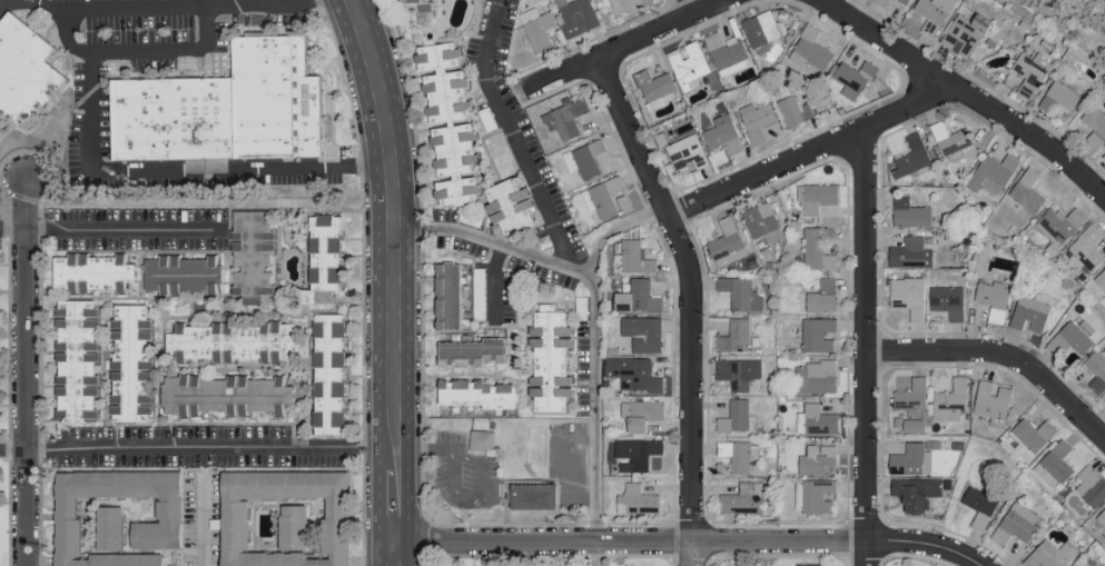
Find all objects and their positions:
road: (1, 1)
building: (904, 1)
building: (881, 2)
building: (420, 4)
building: (628, 4)
road: (275, 6)
road: (126, 7)
road: (690, 8)
building: (933, 13)
building: (578, 17)
building: (537, 29)
building: (760, 31)
building: (965, 34)
building: (726, 46)
road: (625, 47)
building: (810, 49)
road: (140, 51)
building: (688, 66)
building: (1028, 73)
building: (854, 78)
building: (27, 79)
road: (965, 93)
building: (793, 111)
building: (228, 116)
building: (565, 118)
building: (756, 120)
building: (448, 123)
building: (1094, 127)
building: (722, 135)
road: (512, 137)
building: (951, 141)
road: (812, 151)
building: (1104, 156)
building: (911, 157)
road: (181, 172)
building: (993, 173)
building: (1026, 192)
building: (816, 197)
building: (602, 198)
building: (624, 201)
building: (509, 206)
building: (909, 214)
road: (397, 219)
building: (761, 222)
building: (1059, 225)
road: (112, 228)
road: (615, 232)
building: (726, 239)
building: (1085, 250)
building: (250, 252)
building: (817, 252)
building: (910, 254)
building: (323, 258)
building: (633, 258)
building: (91, 272)
building: (181, 275)
building: (1101, 279)
road: (493, 281)
building: (740, 294)
building: (447, 296)
building: (822, 297)
building: (908, 297)
building: (638, 298)
building: (994, 299)
building: (948, 301)
road: (692, 302)
road: (595, 311)
building: (1032, 311)
building: (642, 332)
building: (817, 335)
building: (1076, 336)
building: (734, 337)
building: (235, 340)
road: (866, 347)
building: (473, 351)
road: (1003, 354)
building: (75, 360)
building: (550, 361)
building: (129, 364)
building: (1097, 368)
road: (26, 371)
building: (738, 373)
building: (327, 374)
building: (633, 374)
building: (816, 378)
building: (475, 394)
building: (224, 395)
building: (912, 397)
building: (951, 401)
building: (991, 404)
building: (641, 414)
building: (737, 418)
building: (816, 420)
building: (914, 425)
building: (1030, 437)
building: (481, 440)
road: (198, 447)
road: (428, 447)
building: (635, 454)
road: (565, 455)
building: (738, 455)
building: (818, 460)
building: (911, 460)
road: (485, 463)
building: (1055, 465)
building: (1091, 487)
building: (917, 493)
road: (452, 495)
building: (532, 496)
building: (815, 496)
building: (743, 499)
building: (637, 500)
building: (977, 505)
road: (397, 506)
building: (167, 508)
road: (203, 517)
building: (1102, 517)
building: (284, 518)
building: (1016, 524)
building: (108, 528)
road: (632, 544)
road: (926, 545)
road: (595, 555)
building: (1049, 555)
building: (801, 565)

